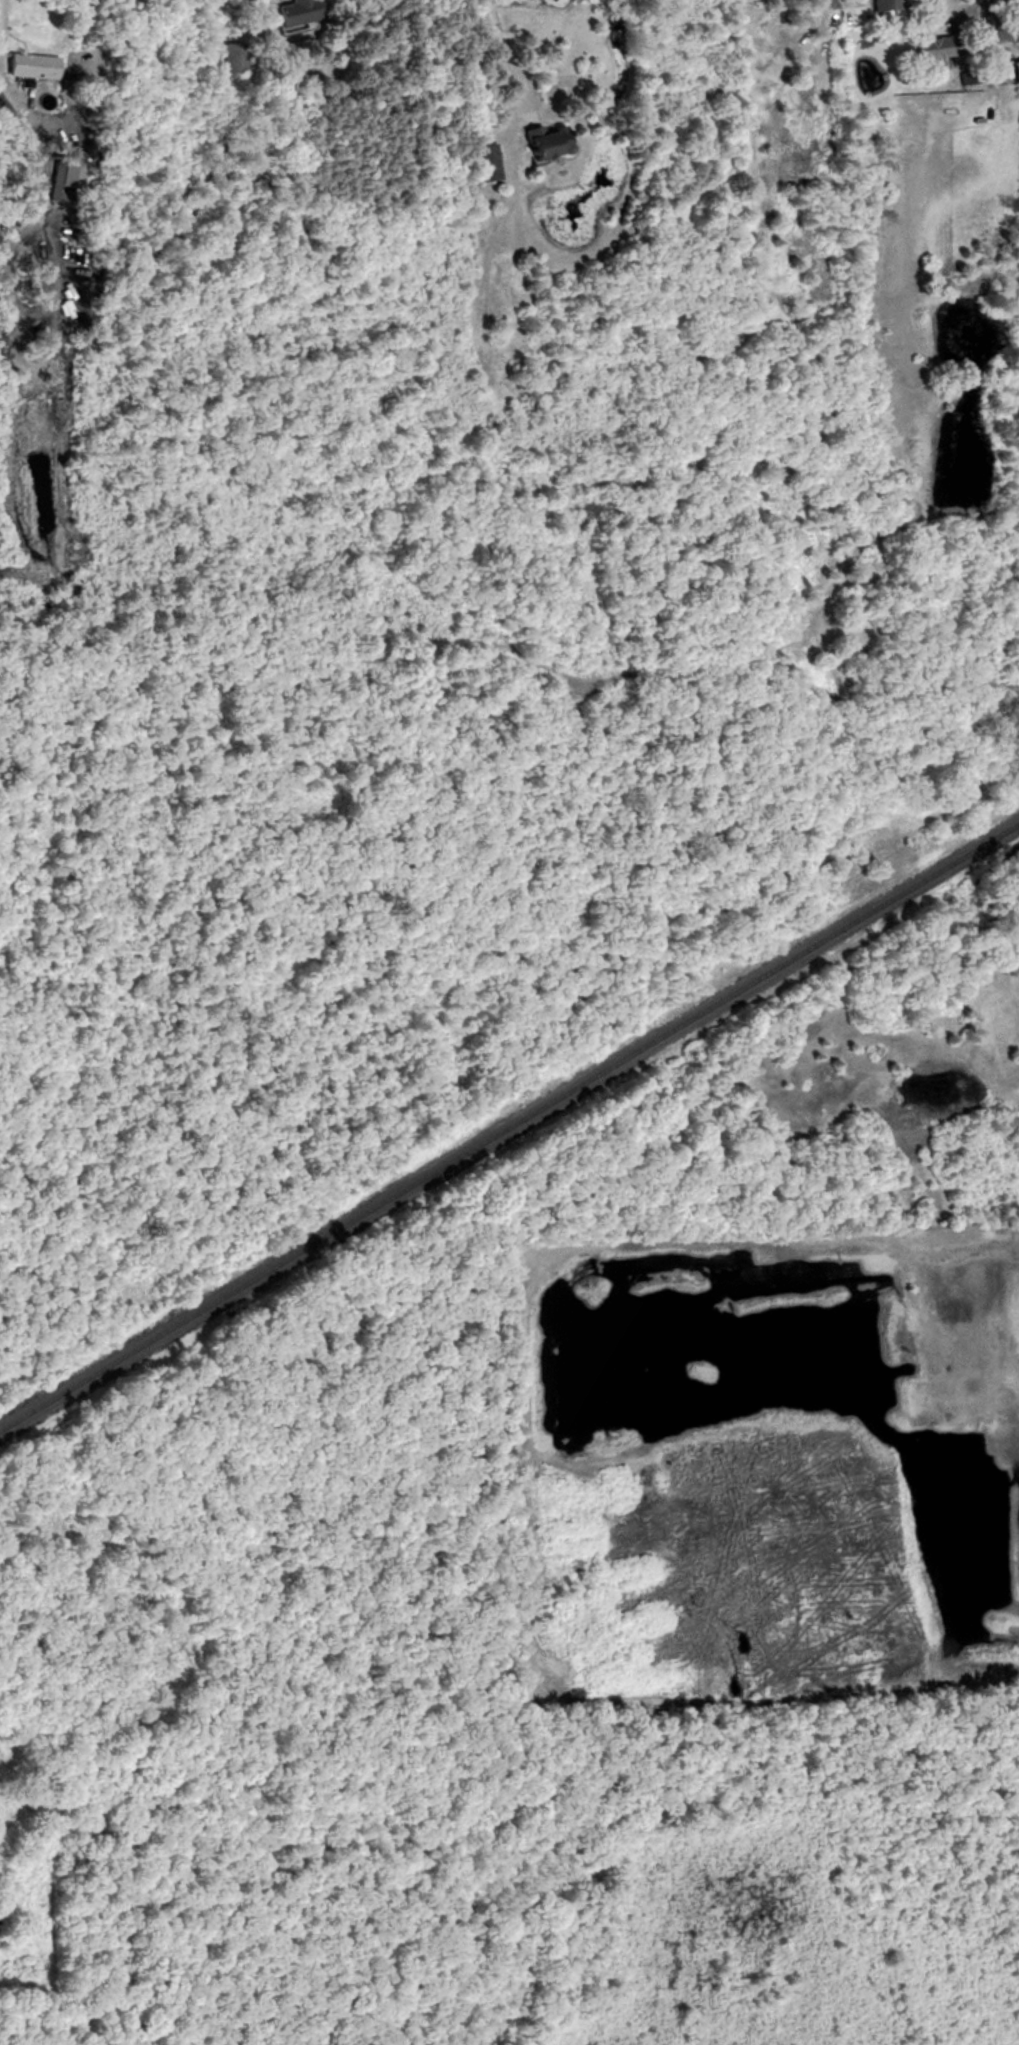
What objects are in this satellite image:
road: (1017, 1)
building: (884, 5)
building: (296, 12)
road: (997, 25)
building: (933, 47)
building: (236, 57)
building: (32, 66)
building: (1008, 71)
road: (510, 110)
building: (539, 145)
building: (483, 162)
railway: (509, 1127)

